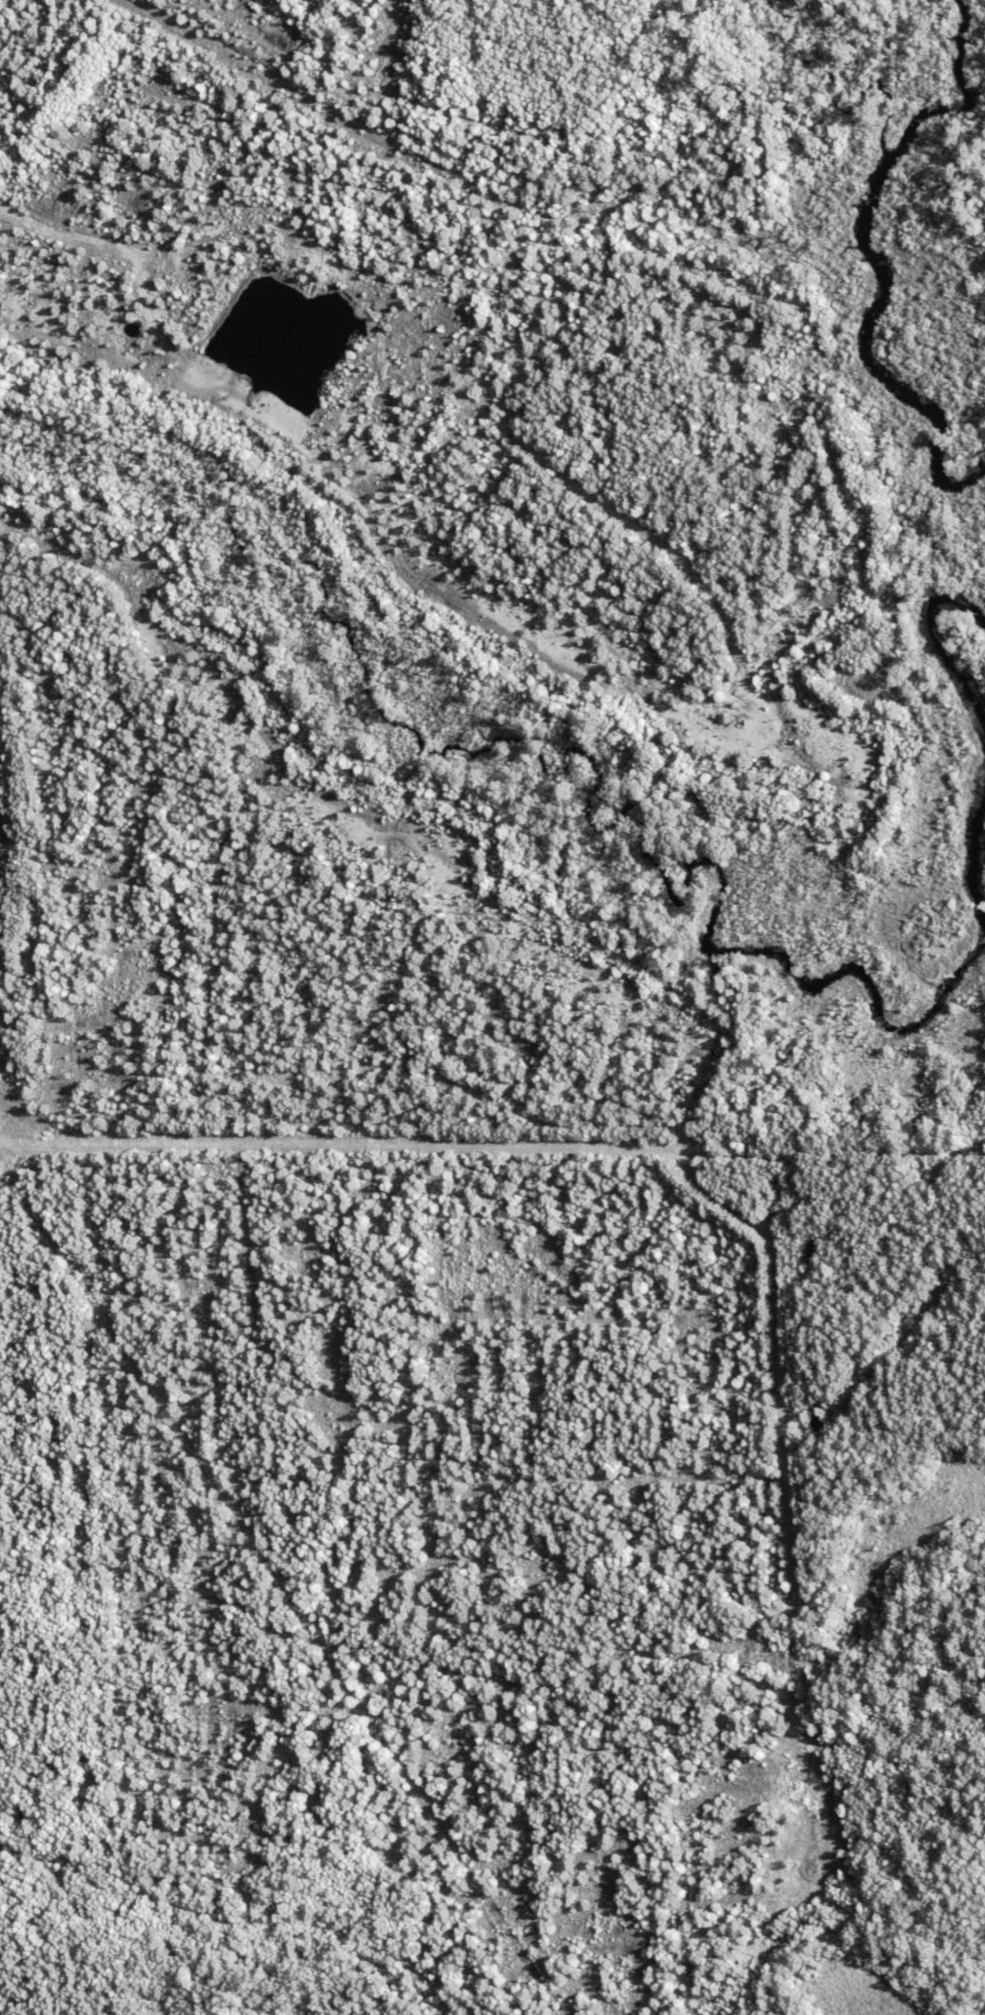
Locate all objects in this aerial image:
road: (492, 1197)

